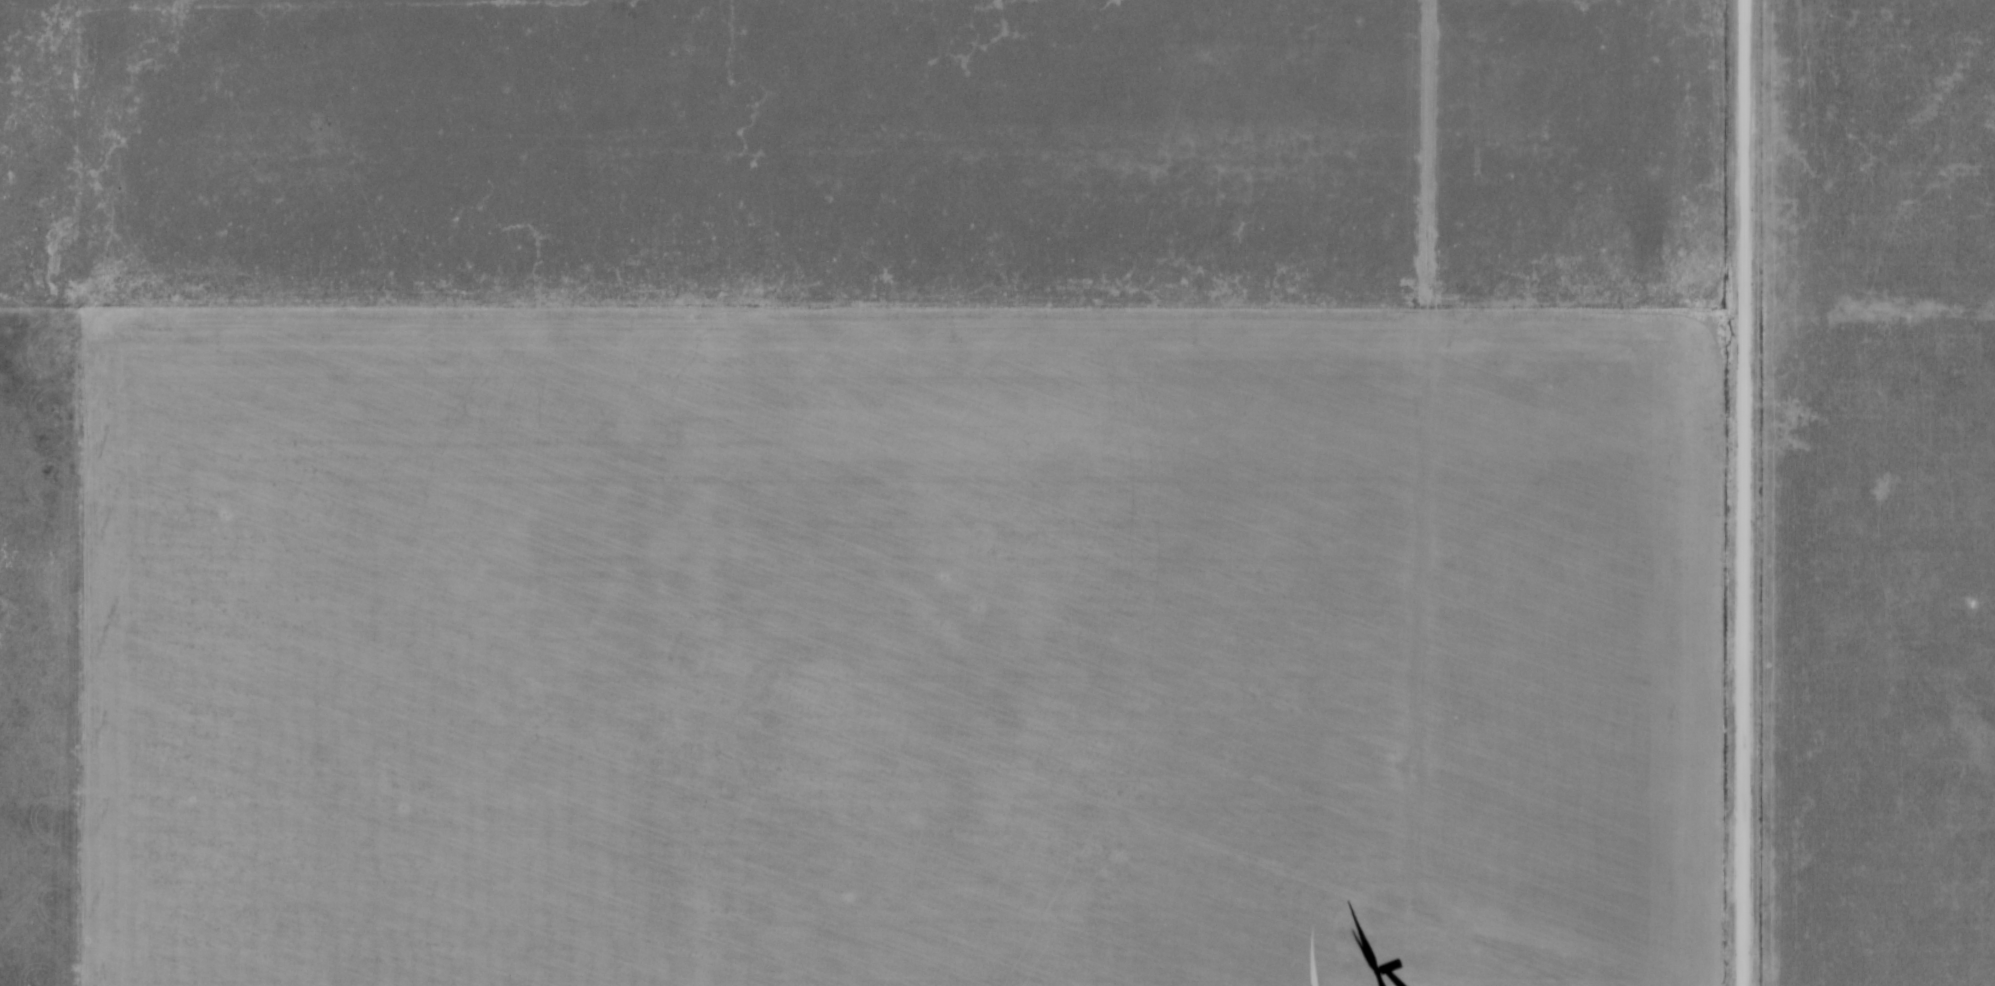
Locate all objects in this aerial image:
road: (1744, 492)

